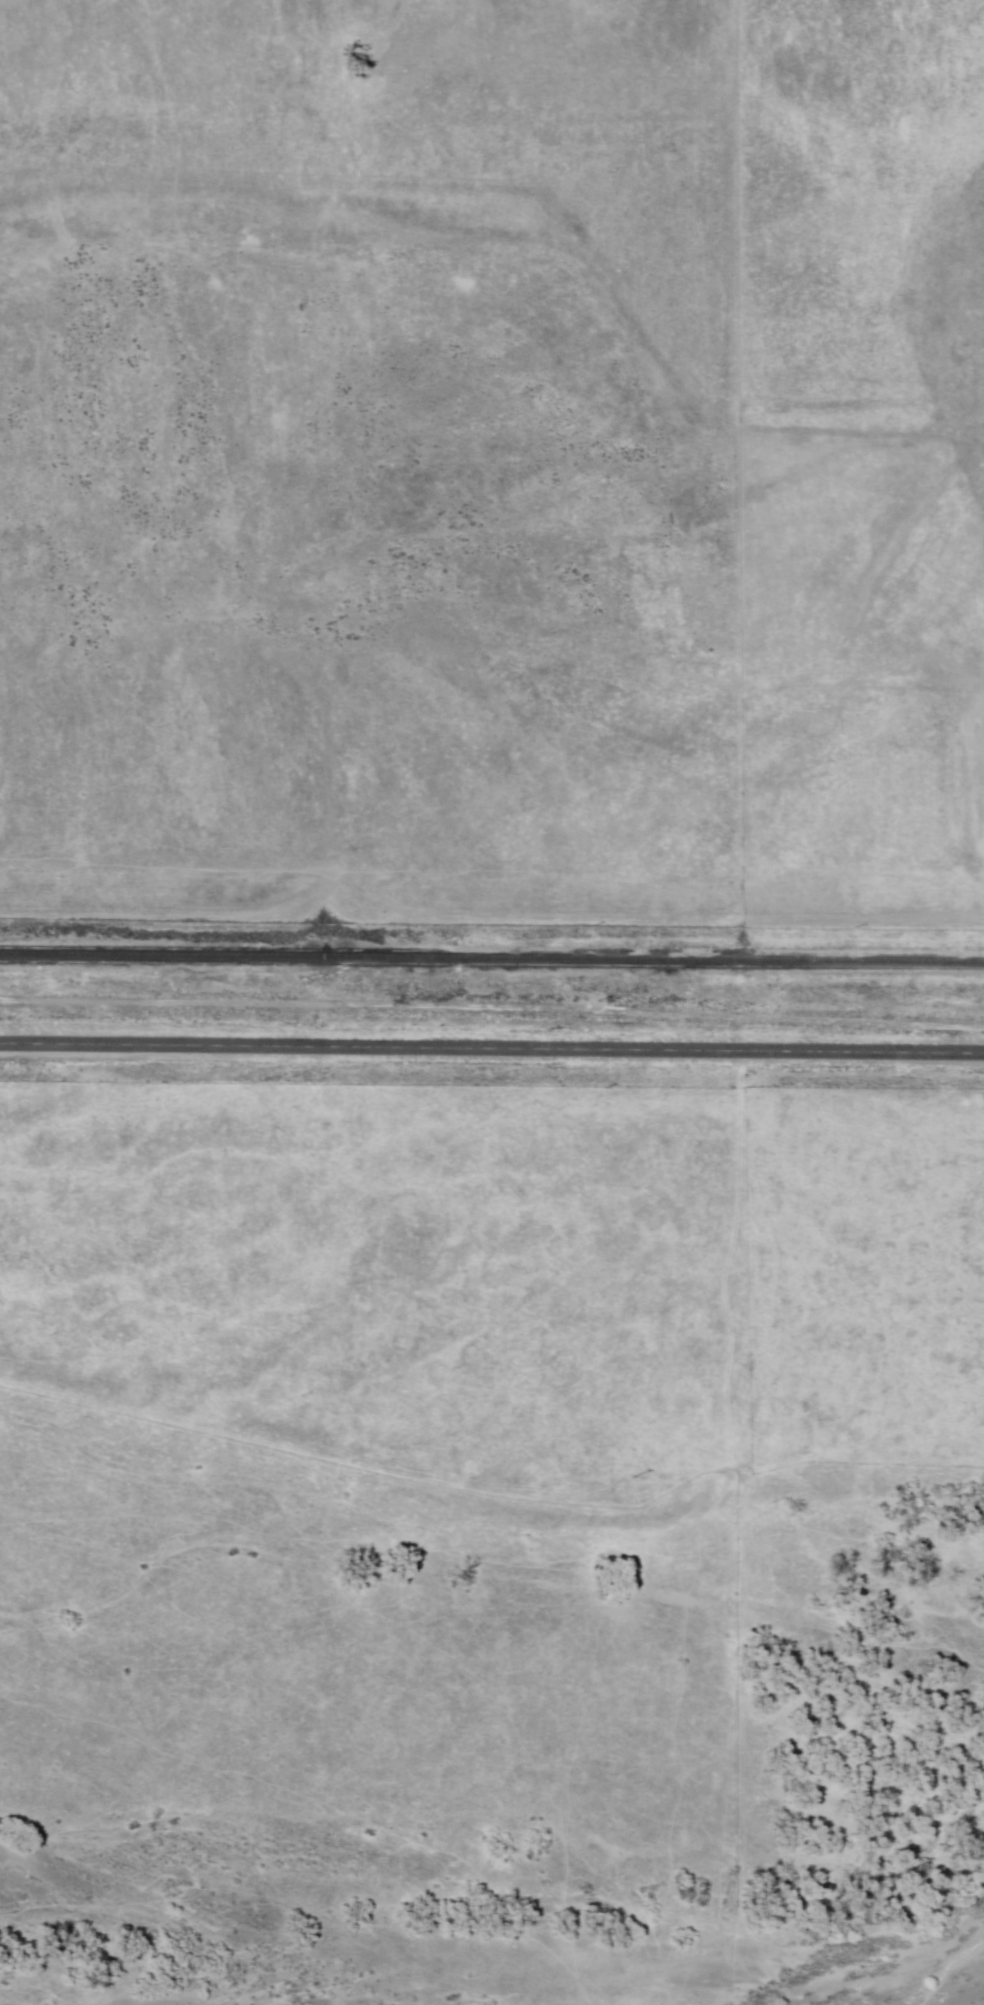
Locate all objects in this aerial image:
road: (875, 152)
road: (578, 361)
quarry: (485, 622)
road: (487, 916)
railway: (492, 960)
road: (492, 1048)
park: (892, 1456)

